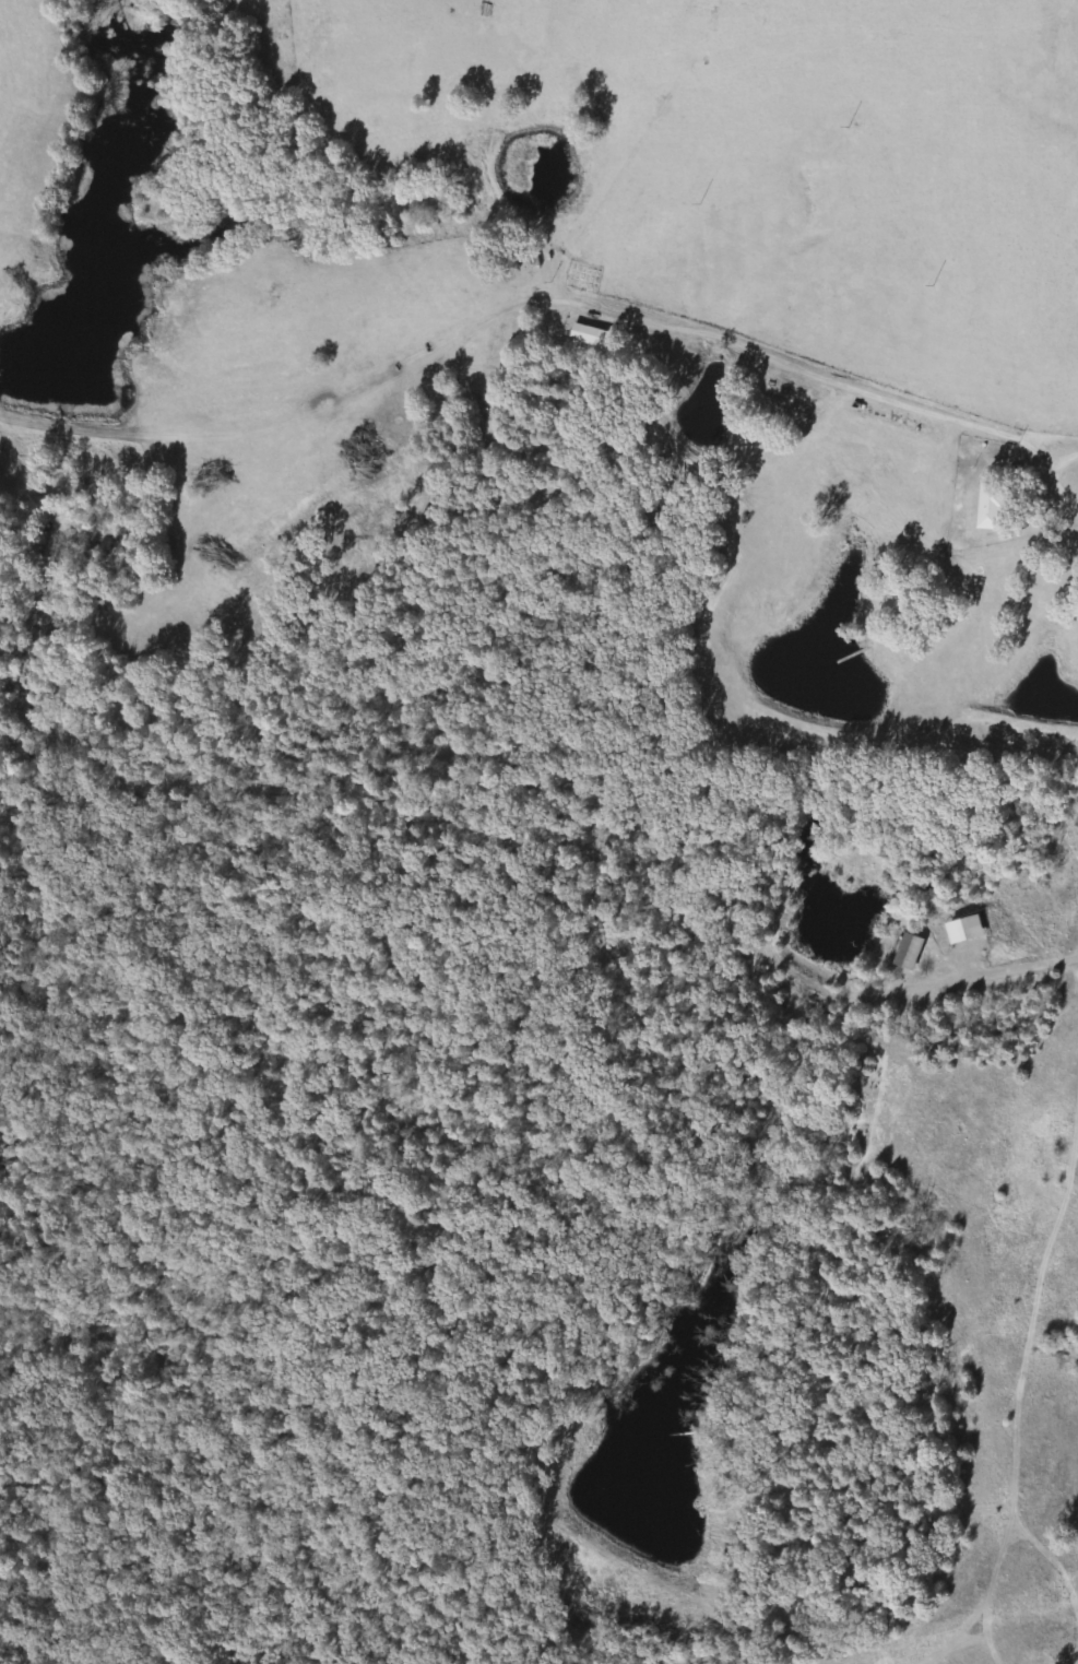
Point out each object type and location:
road: (550, 307)
building: (592, 337)
road: (1065, 472)
building: (992, 506)

